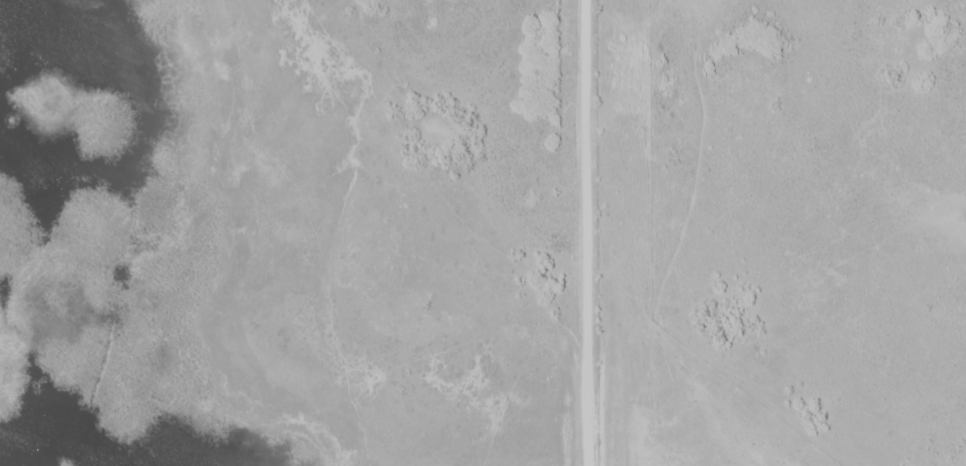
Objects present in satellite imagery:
road: (567, 233)

